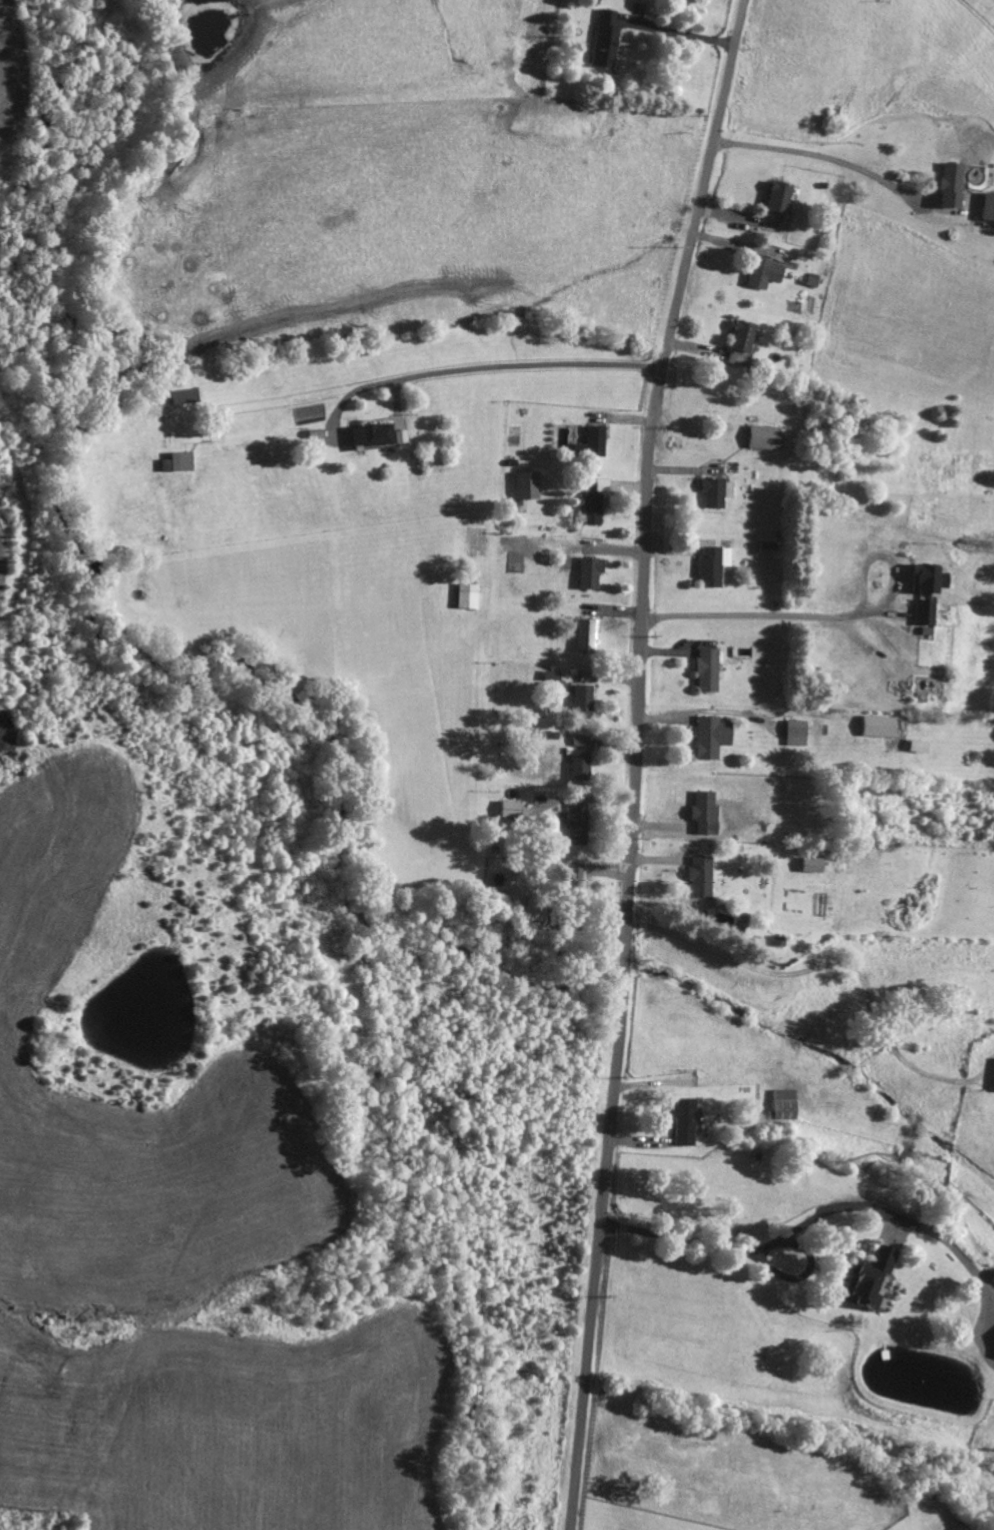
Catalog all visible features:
road: (683, 33)
building: (610, 38)
road: (820, 158)
building: (956, 185)
building: (784, 196)
building: (991, 206)
building: (770, 272)
building: (746, 342)
road: (487, 367)
building: (187, 392)
building: (381, 435)
building: (768, 437)
building: (600, 440)
building: (182, 462)
building: (531, 485)
building: (721, 491)
building: (597, 508)
building: (519, 544)
building: (718, 565)
building: (595, 572)
building: (935, 578)
building: (472, 595)
road: (831, 615)
building: (928, 615)
building: (592, 635)
building: (712, 669)
building: (591, 676)
building: (587, 698)
building: (883, 726)
building: (800, 732)
building: (716, 736)
building: (922, 746)
road: (10, 756)
building: (585, 759)
road: (640, 761)
building: (514, 809)
building: (709, 812)
building: (581, 823)
building: (817, 865)
building: (705, 876)
building: (786, 1104)
building: (689, 1122)
road: (925, 1229)
road: (749, 1254)
building: (875, 1278)
building: (993, 1282)

